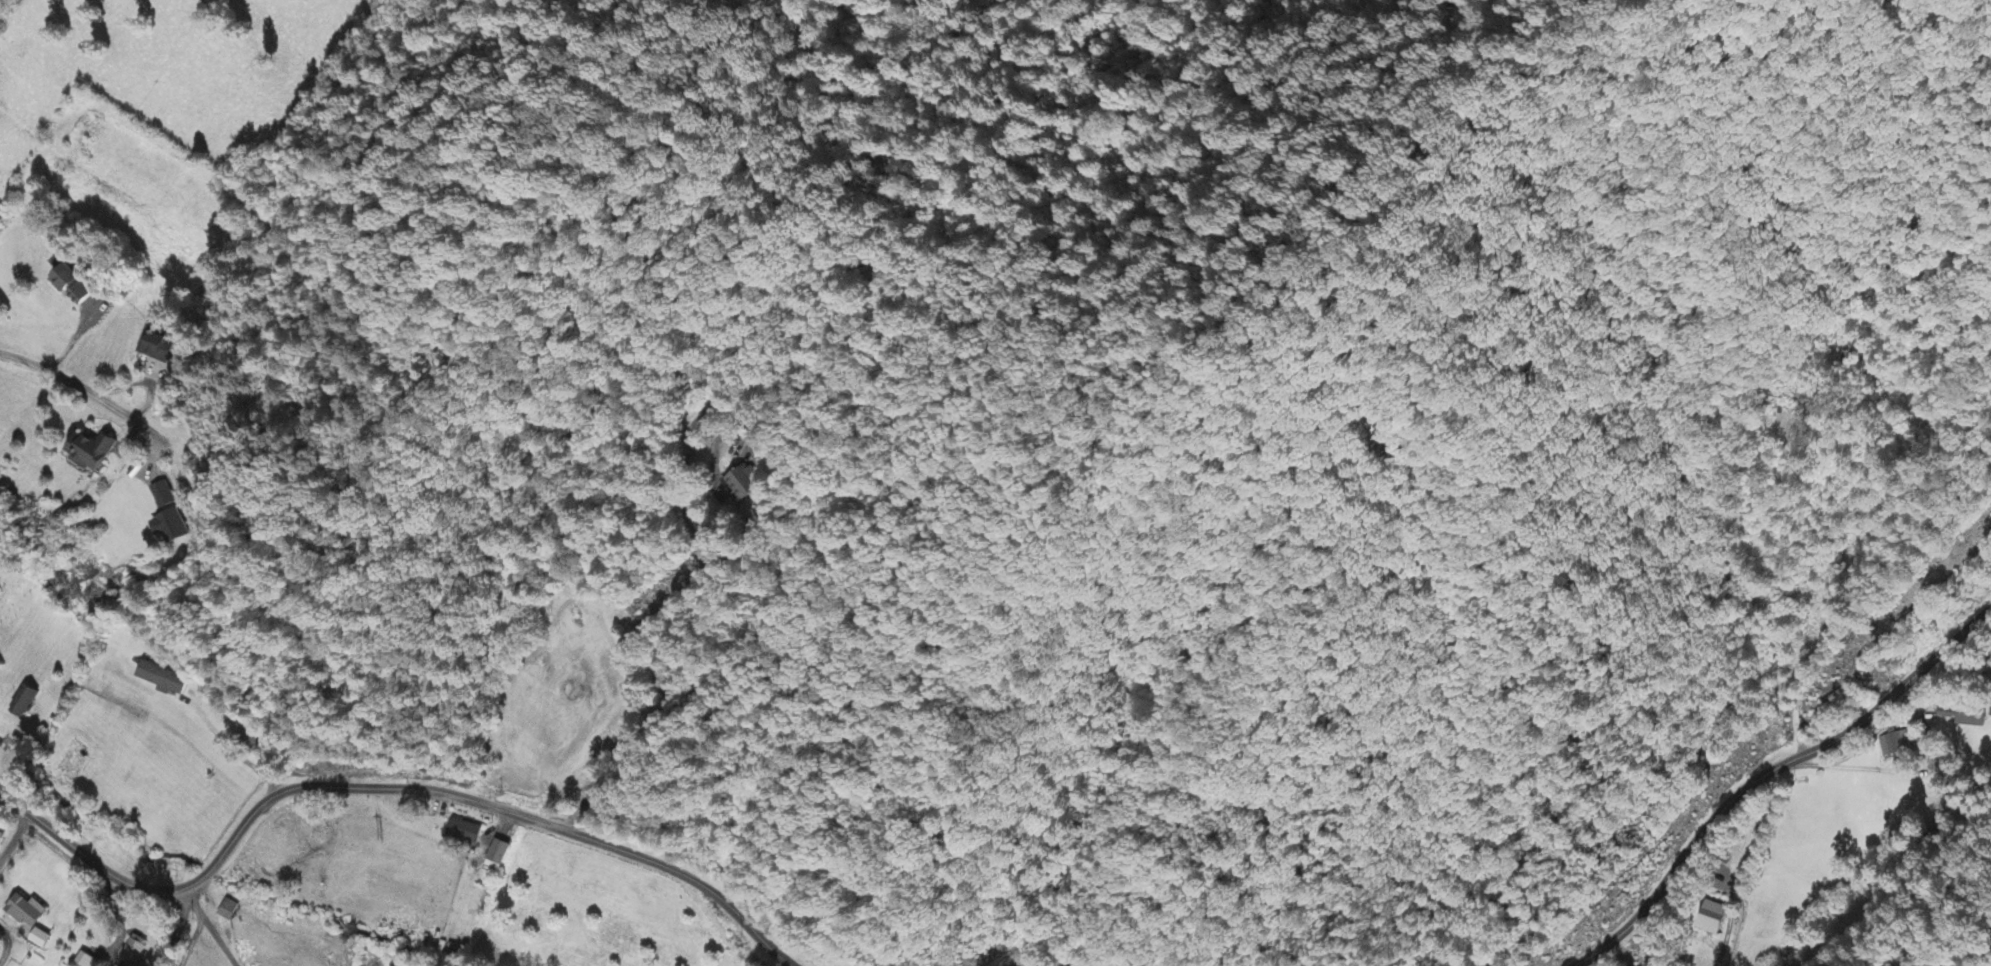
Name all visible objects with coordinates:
building: (73, 285)
building: (157, 346)
road: (70, 380)
building: (92, 451)
building: (744, 485)
building: (163, 496)
building: (170, 527)
building: (162, 679)
building: (24, 702)
building: (1965, 718)
building: (1894, 746)
road: (605, 761)
road: (1769, 773)
road: (505, 811)
building: (465, 832)
road: (14, 836)
building: (499, 853)
road: (83, 855)
road: (195, 878)
road: (1908, 908)
building: (228, 911)
building: (26, 912)
building: (1713, 919)
road: (196, 926)
building: (40, 940)
road: (6, 943)
building: (134, 951)
road: (1977, 956)
building: (86, 961)

